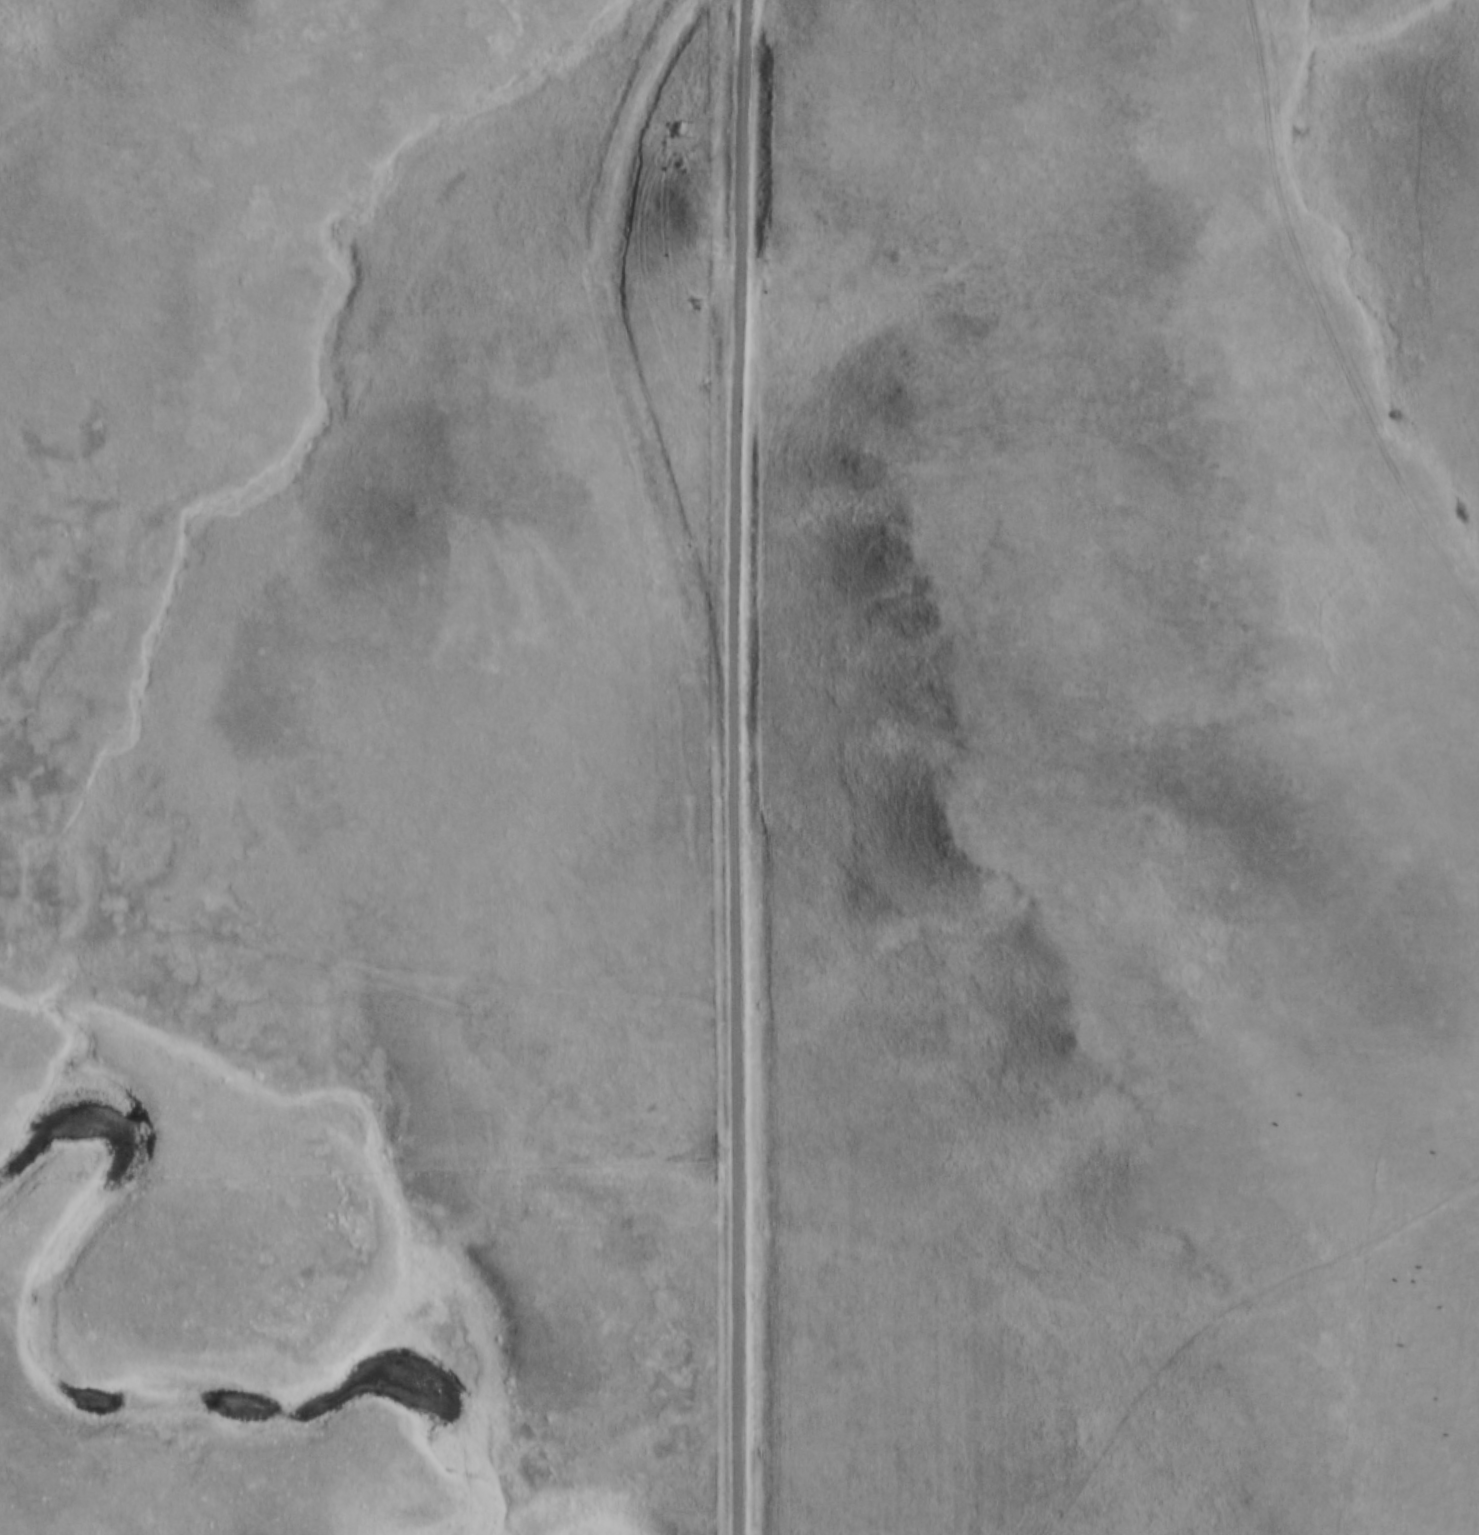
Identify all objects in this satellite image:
road: (619, 434)
road: (732, 767)

